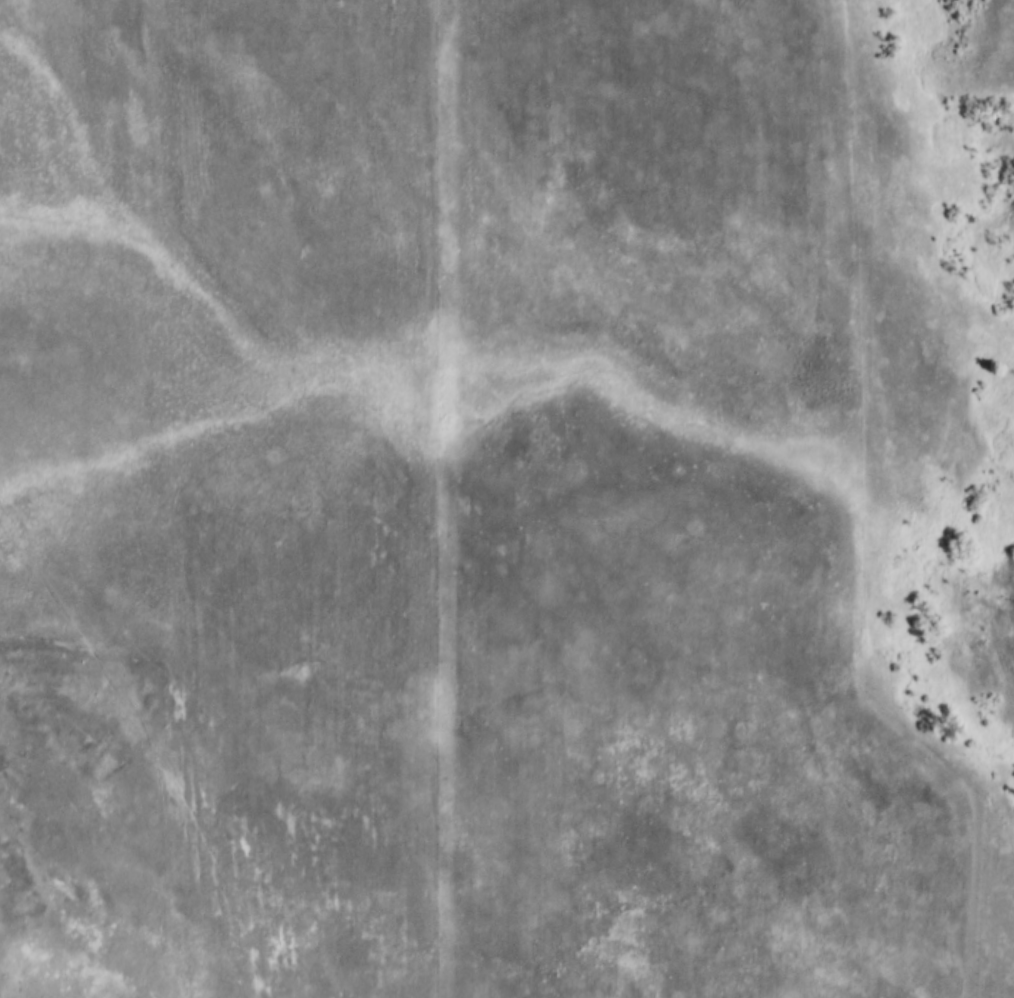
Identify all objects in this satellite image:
road: (124, 836)

